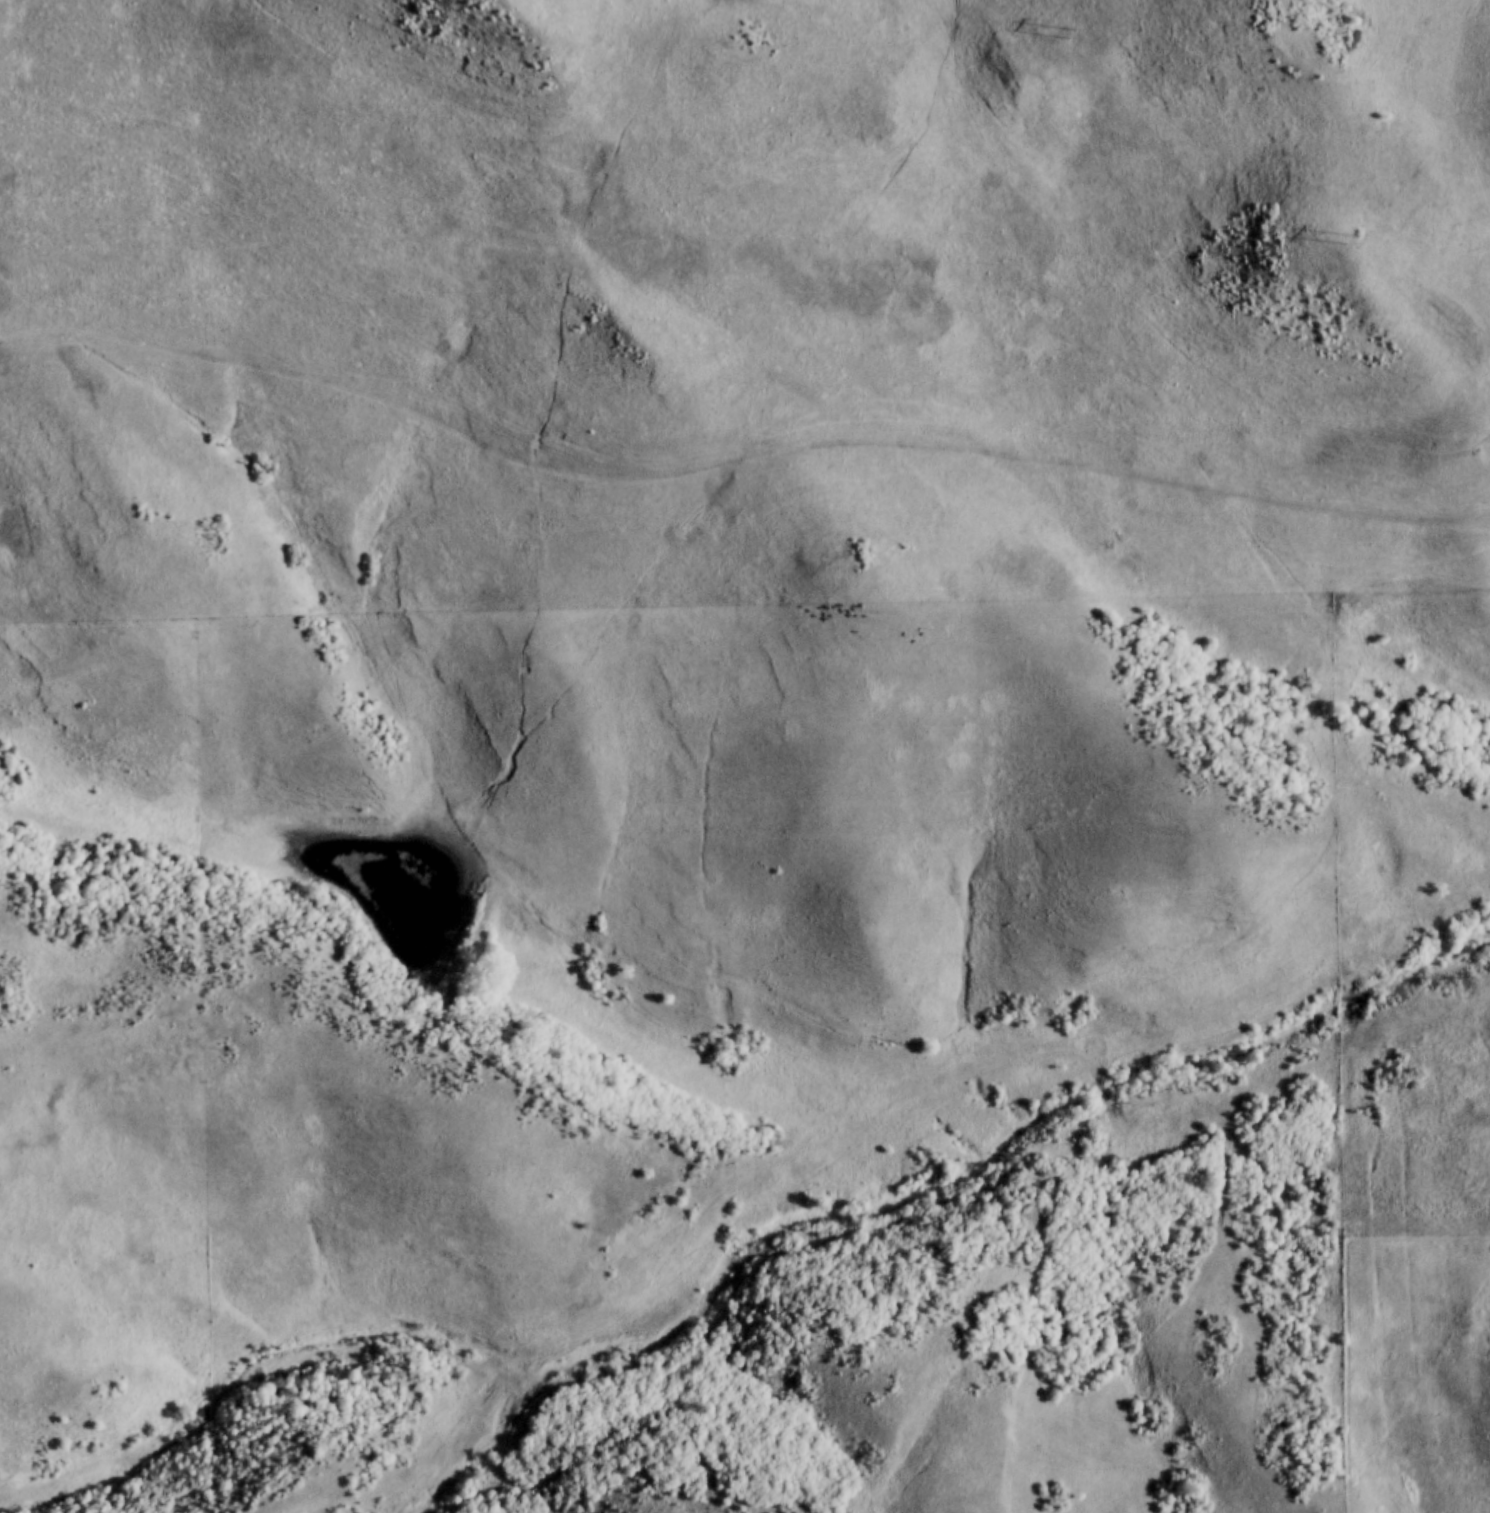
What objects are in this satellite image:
power tower: (1074, 34)
power tower: (1350, 241)
road: (732, 463)

